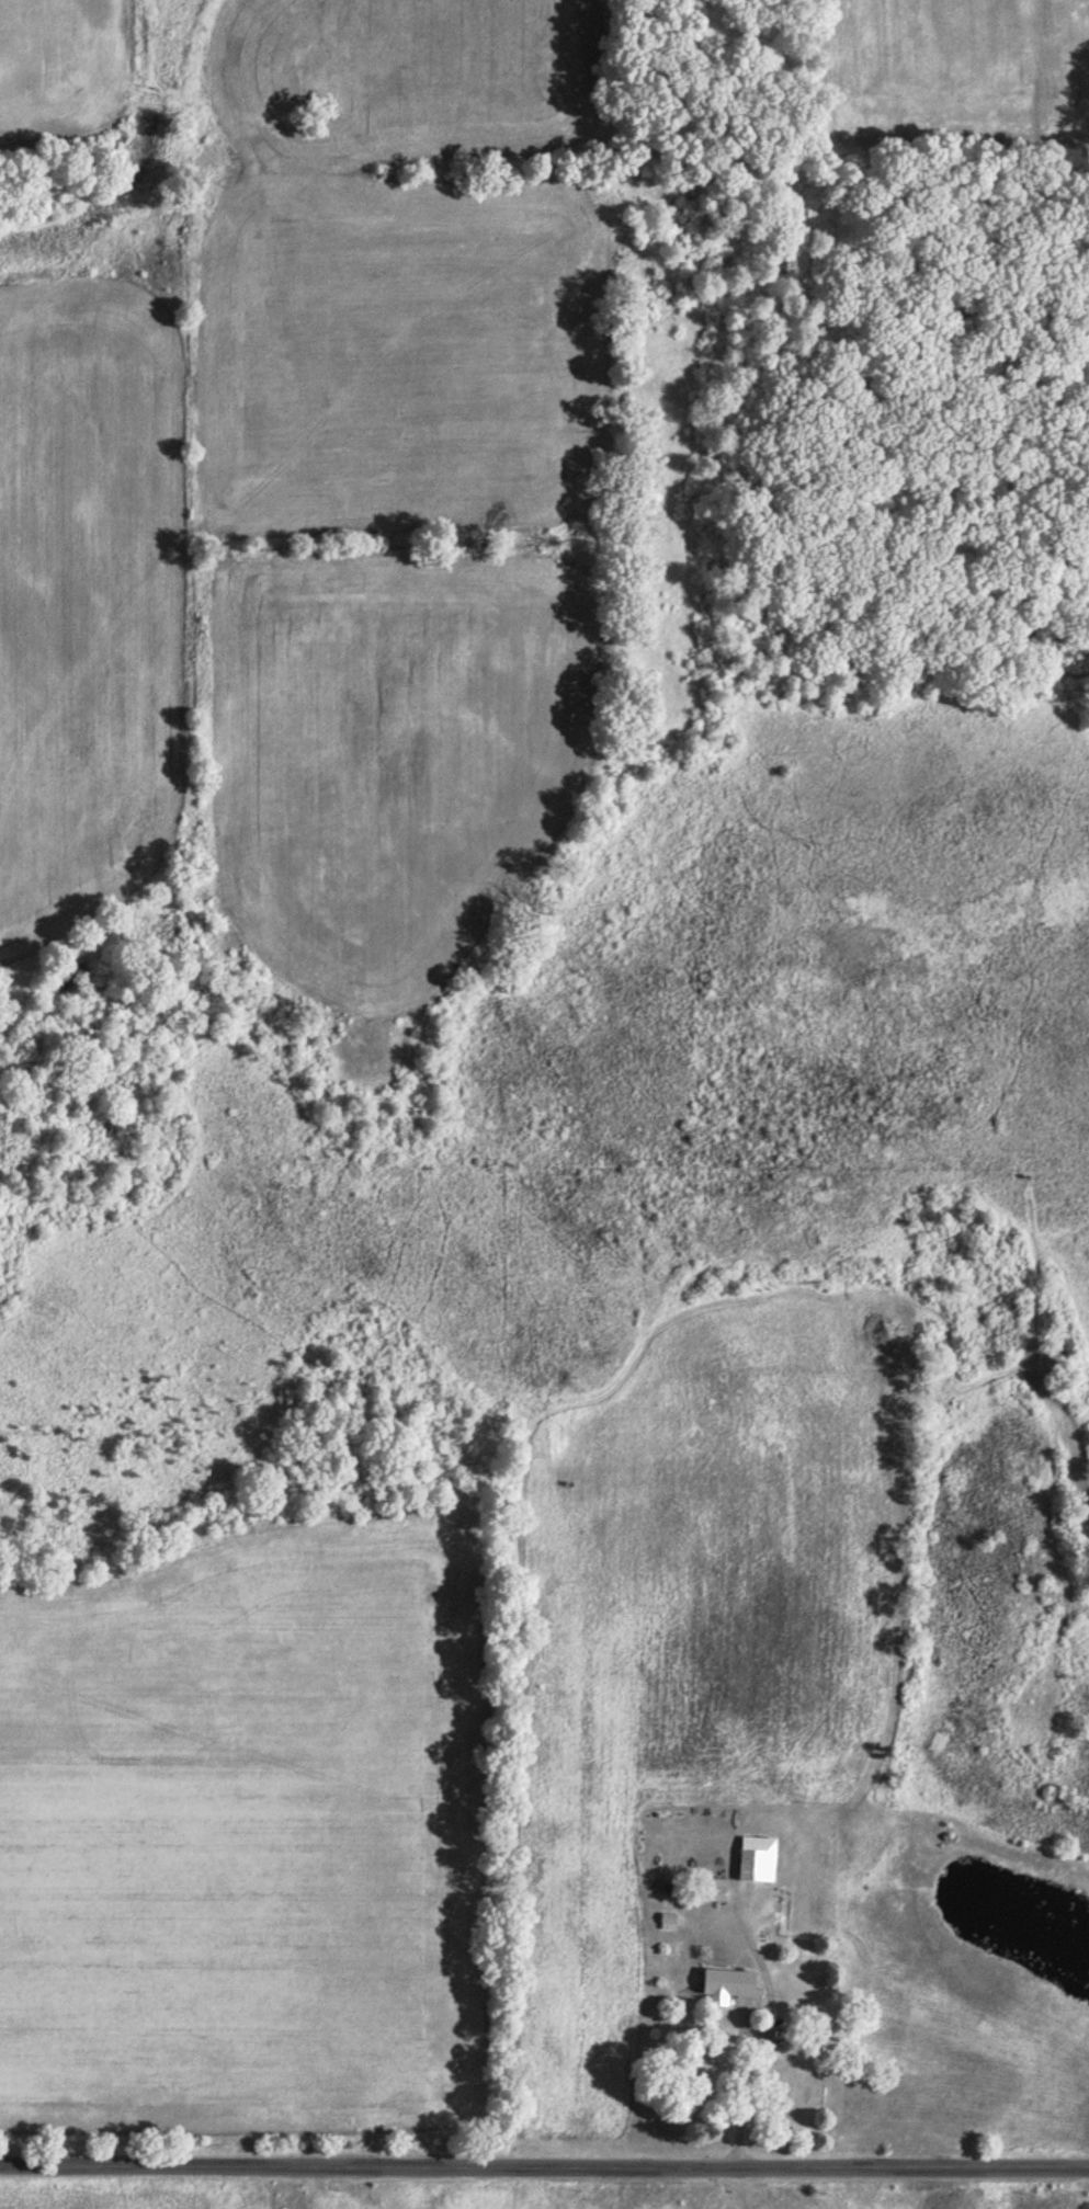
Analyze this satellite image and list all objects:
building: (758, 1858)
building: (669, 1920)
building: (728, 1984)
road: (544, 2173)

